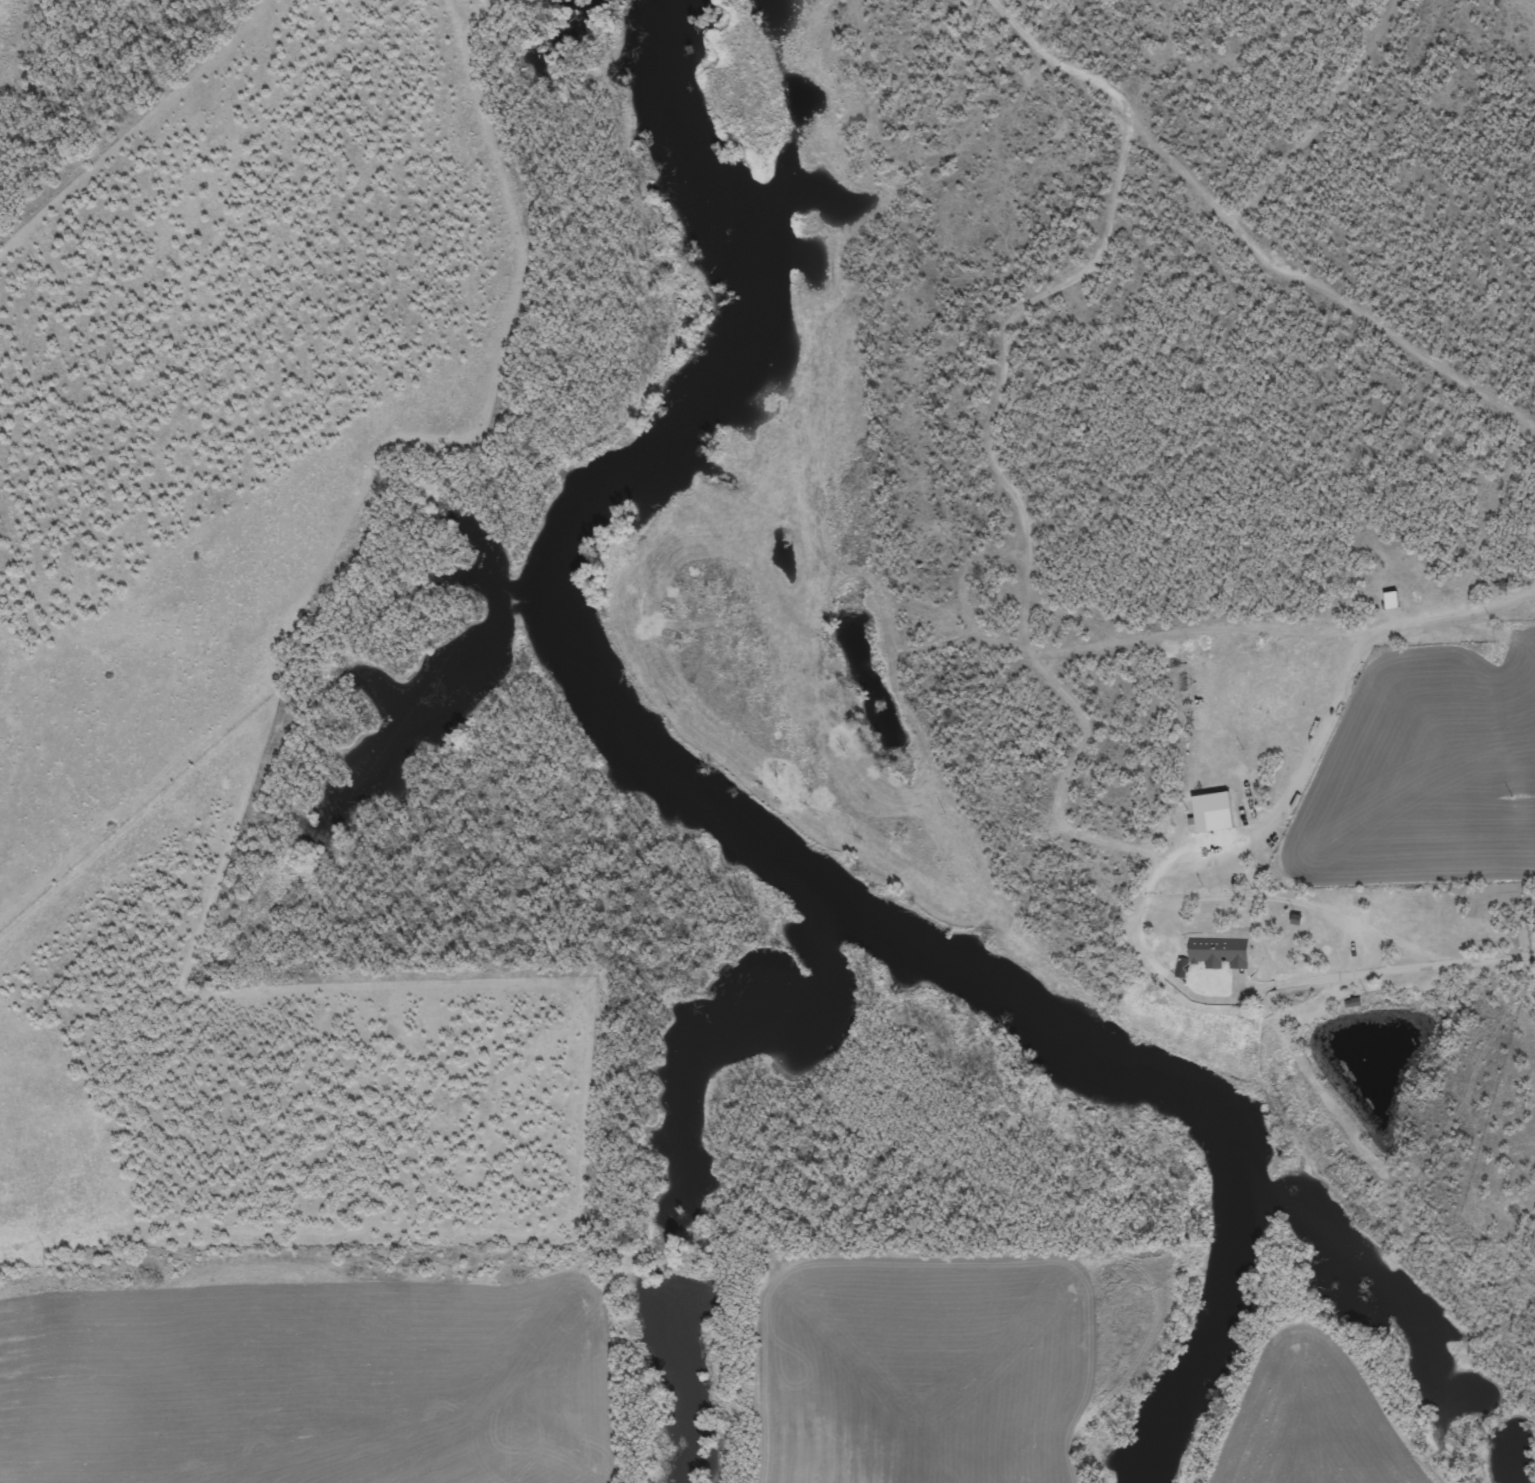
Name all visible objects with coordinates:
building: (1391, 609)
building: (1213, 821)
building: (1218, 961)
road: (1390, 967)

